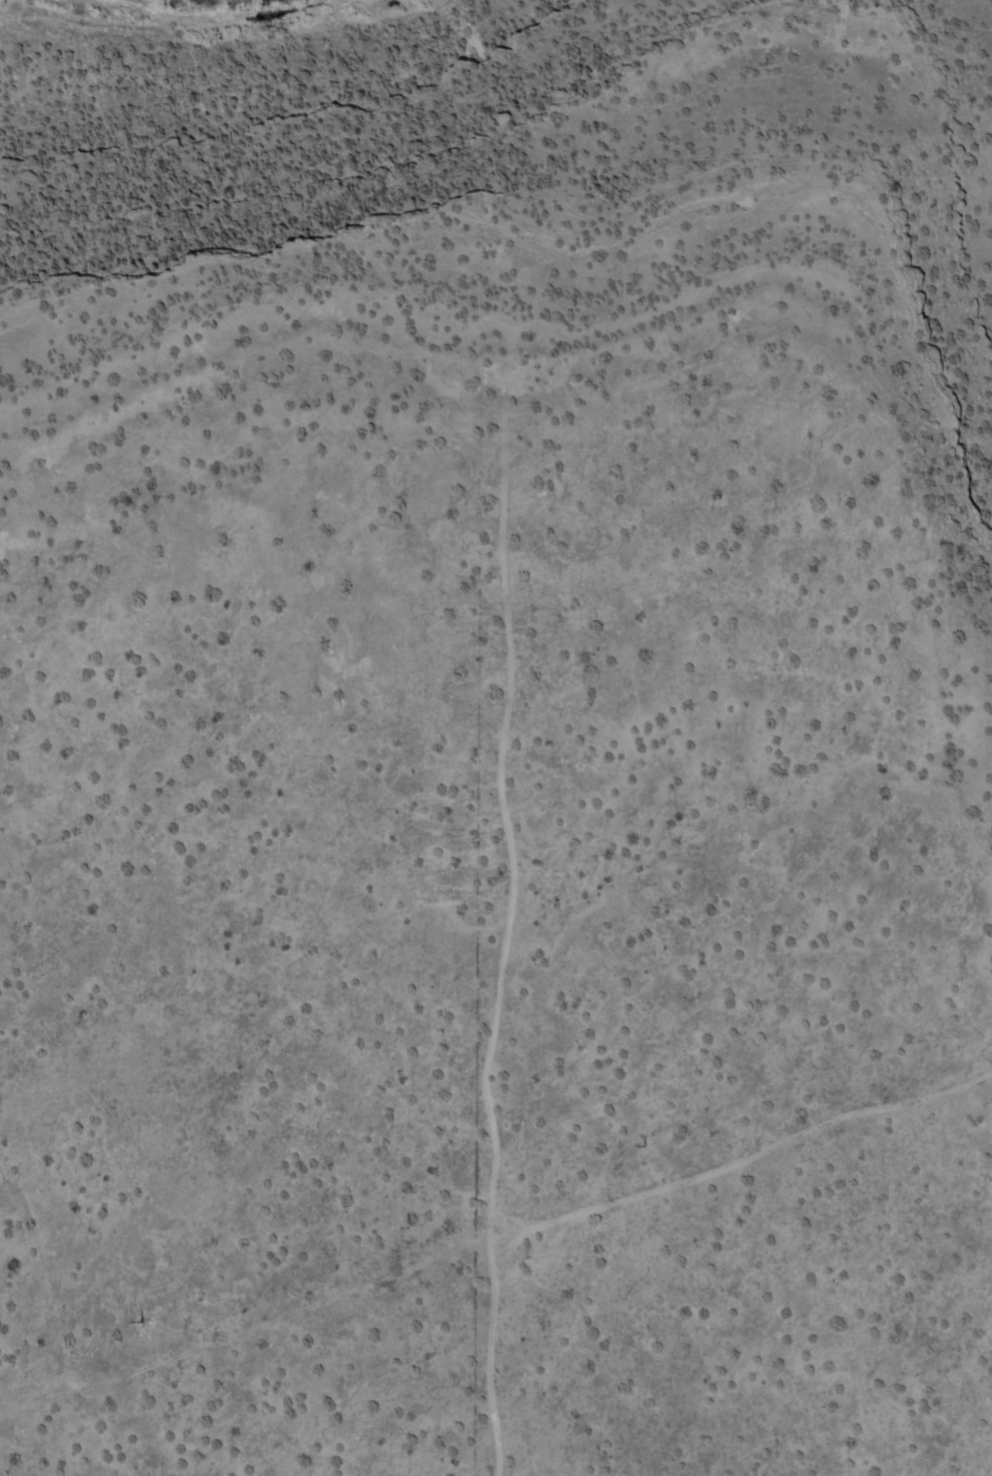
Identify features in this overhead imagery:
road: (630, 1196)

